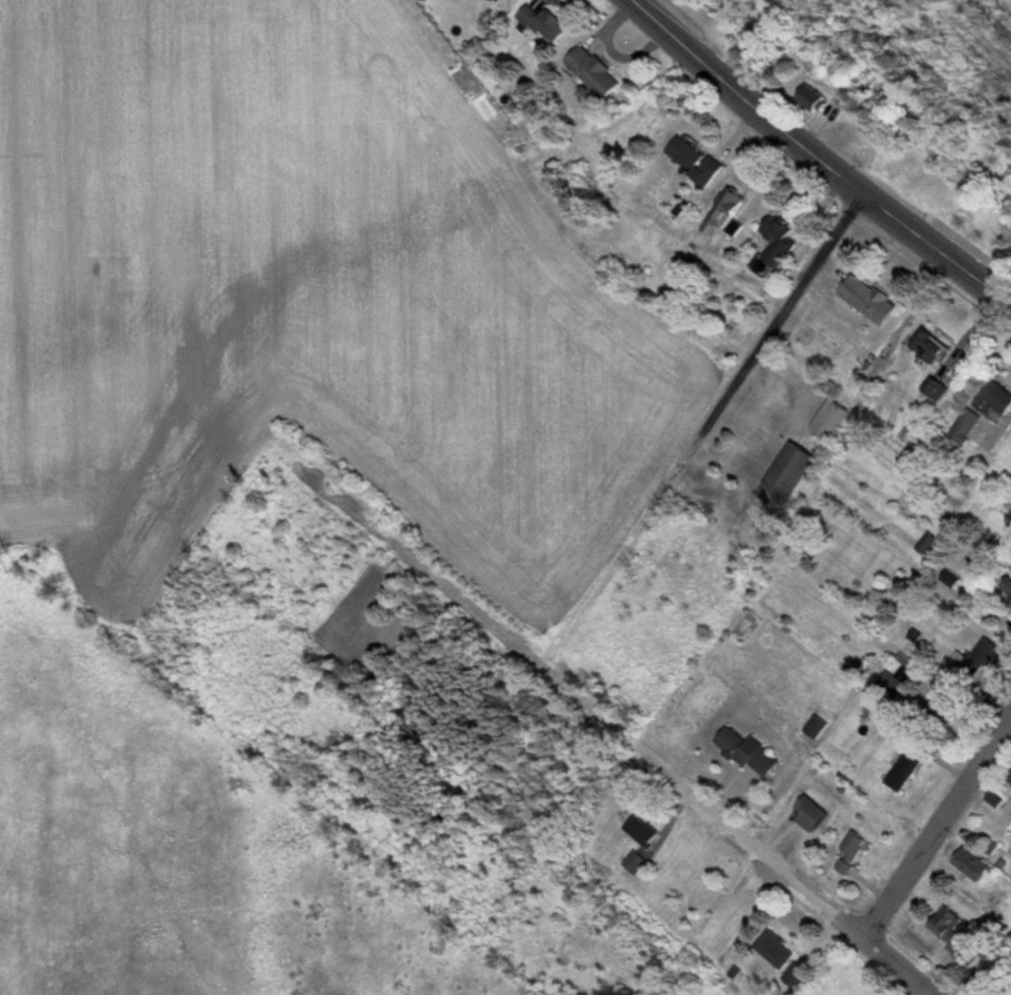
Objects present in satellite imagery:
building: (509, 0)
building: (556, 23)
building: (604, 71)
building: (830, 101)
road: (819, 152)
building: (700, 157)
building: (734, 211)
building: (787, 237)
building: (876, 297)
road: (784, 313)
building: (934, 338)
building: (999, 397)
building: (838, 418)
building: (975, 423)
building: (799, 470)
building: (935, 541)
building: (994, 651)
building: (953, 698)
building: (823, 725)
building: (756, 750)
building: (914, 761)
building: (649, 829)
road: (938, 830)
building: (858, 850)
building: (642, 861)
building: (979, 863)
road: (785, 868)
building: (960, 930)
building: (784, 948)

